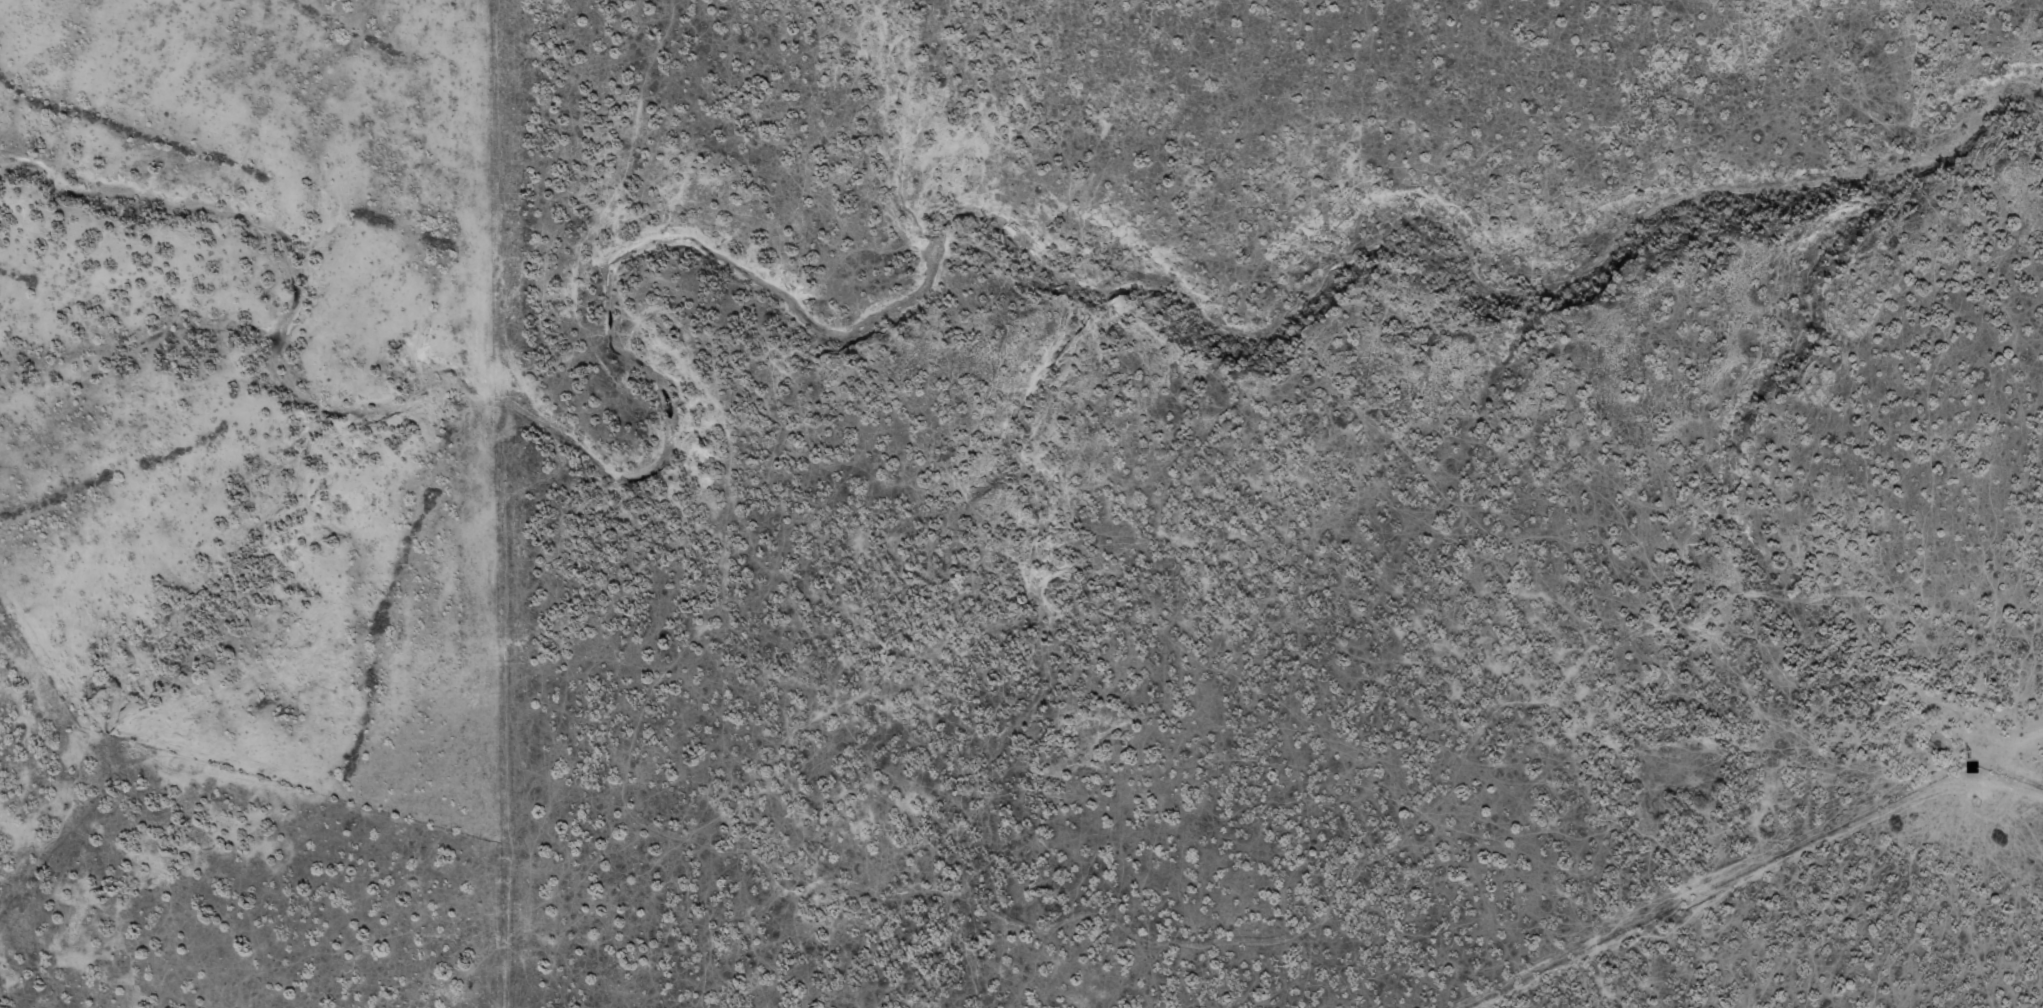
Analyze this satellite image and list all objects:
road: (1812, 779)

